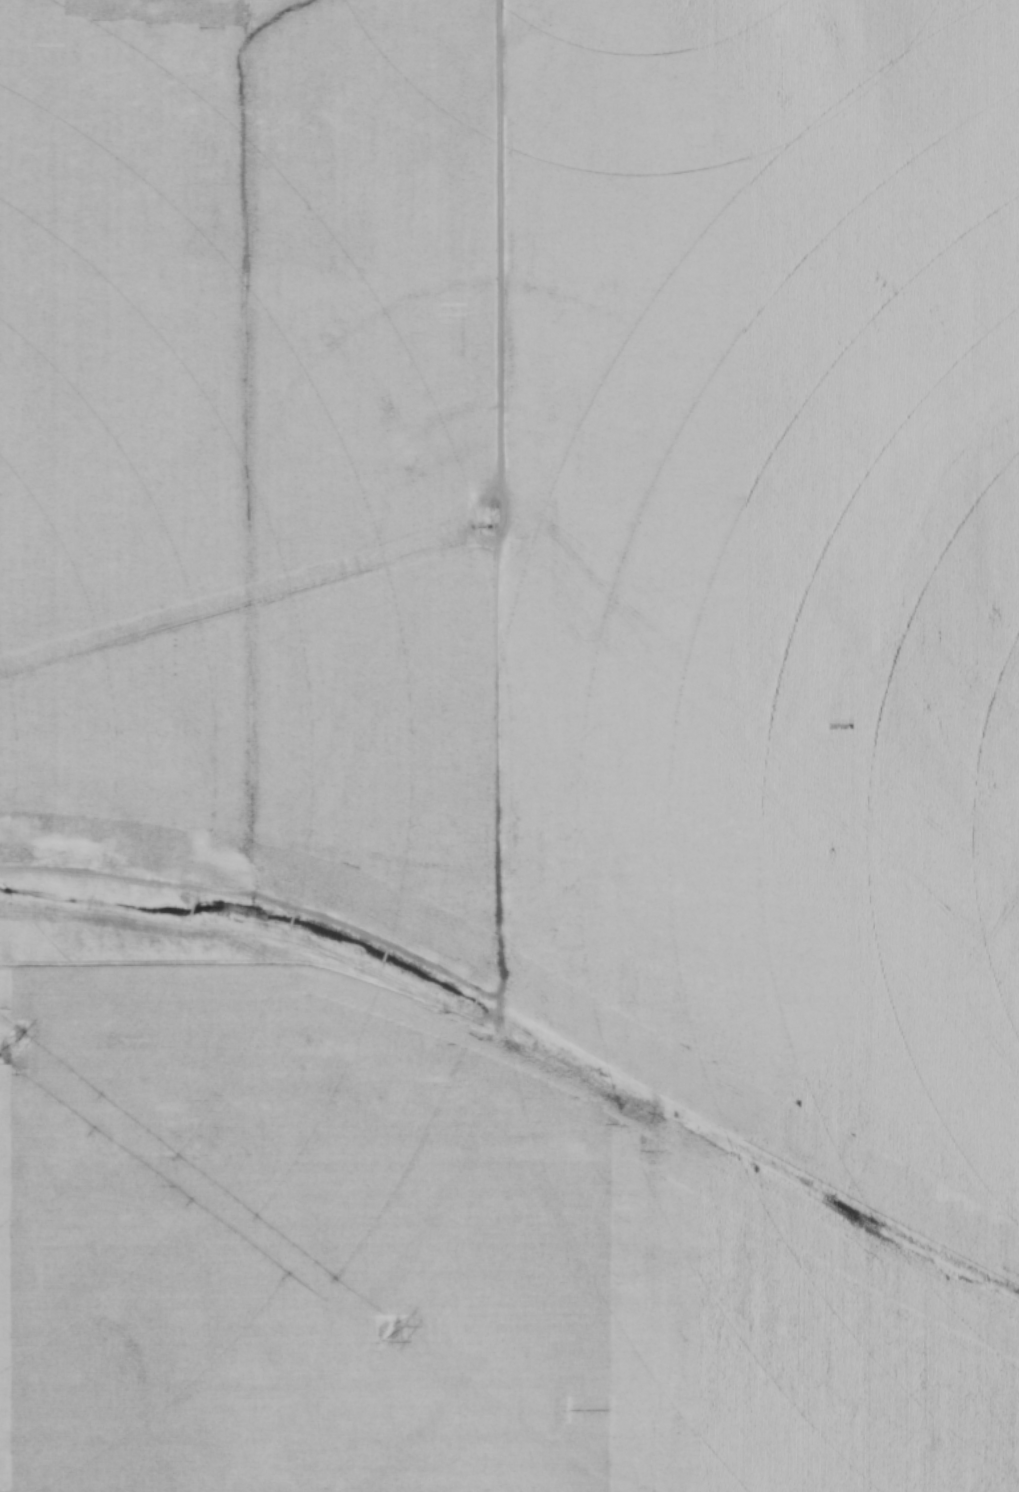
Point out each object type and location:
power tower: (6, 1043)
power tower: (380, 1333)

